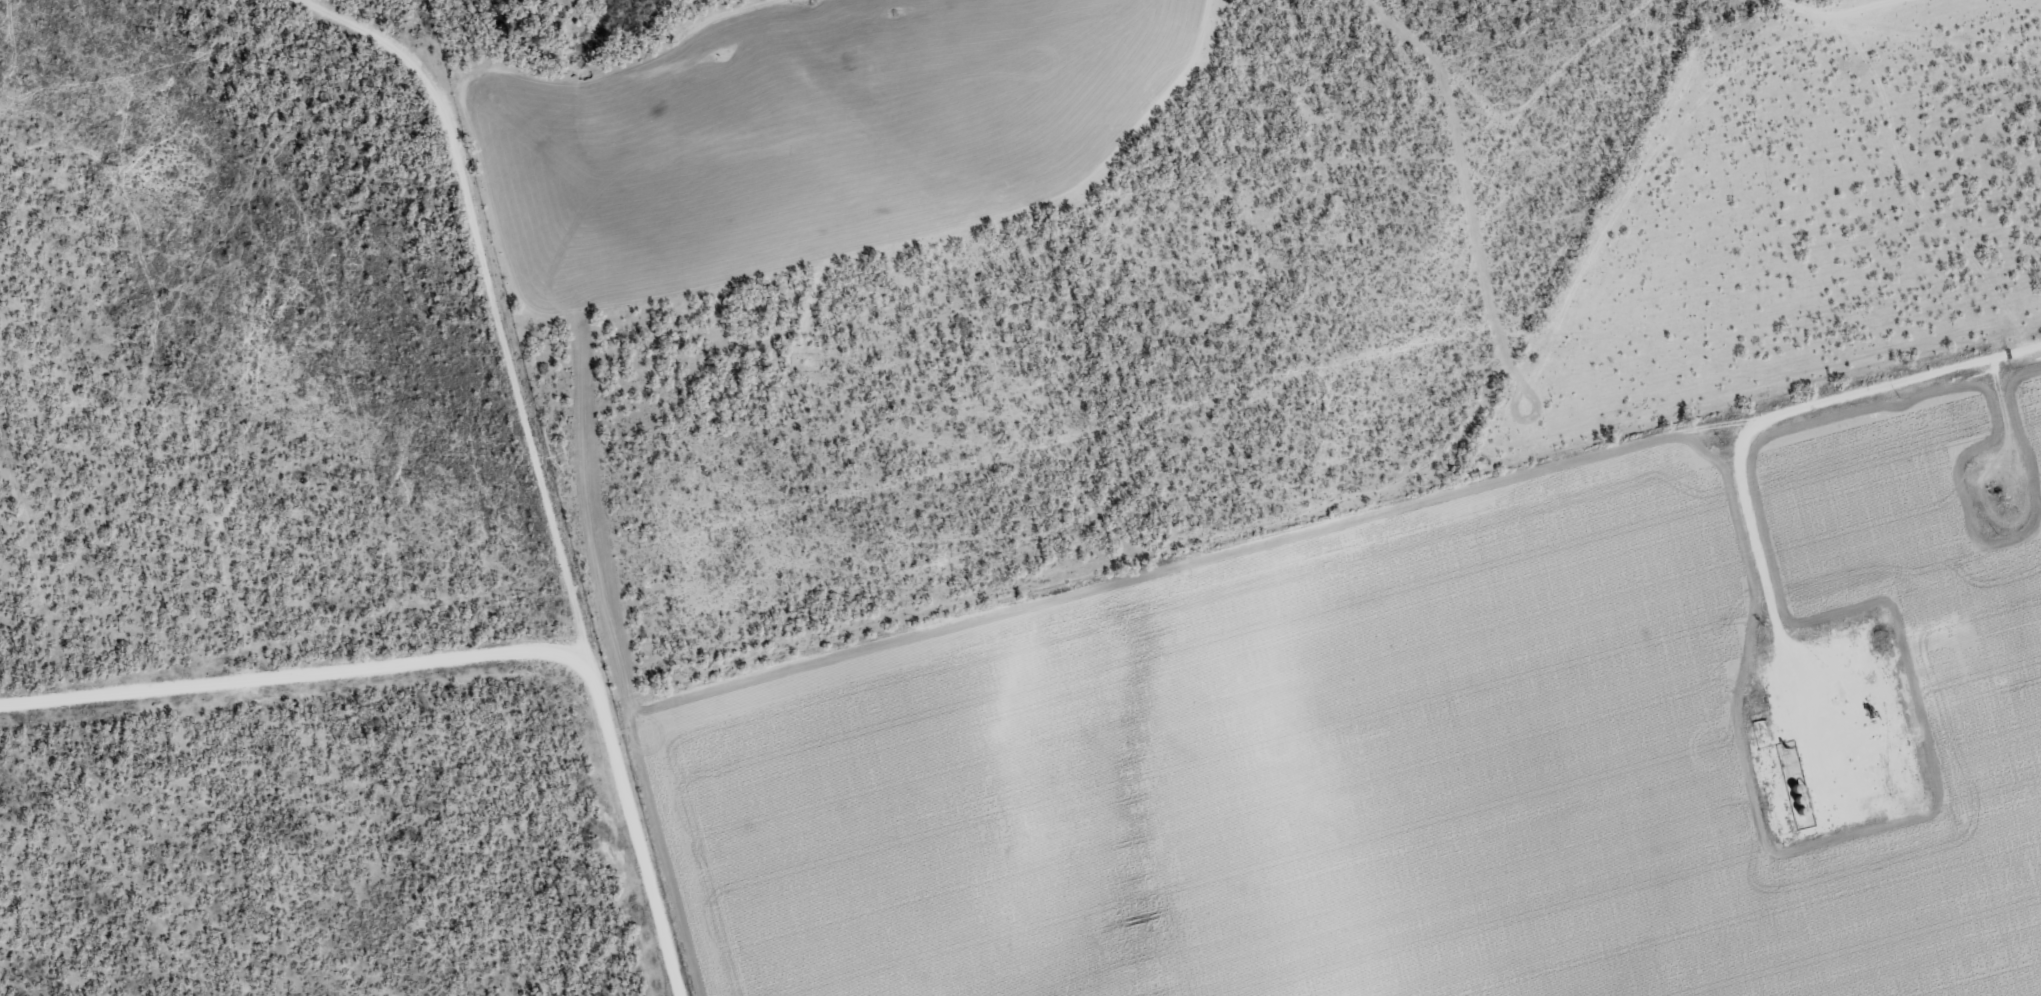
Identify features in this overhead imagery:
road: (1773, 413)

